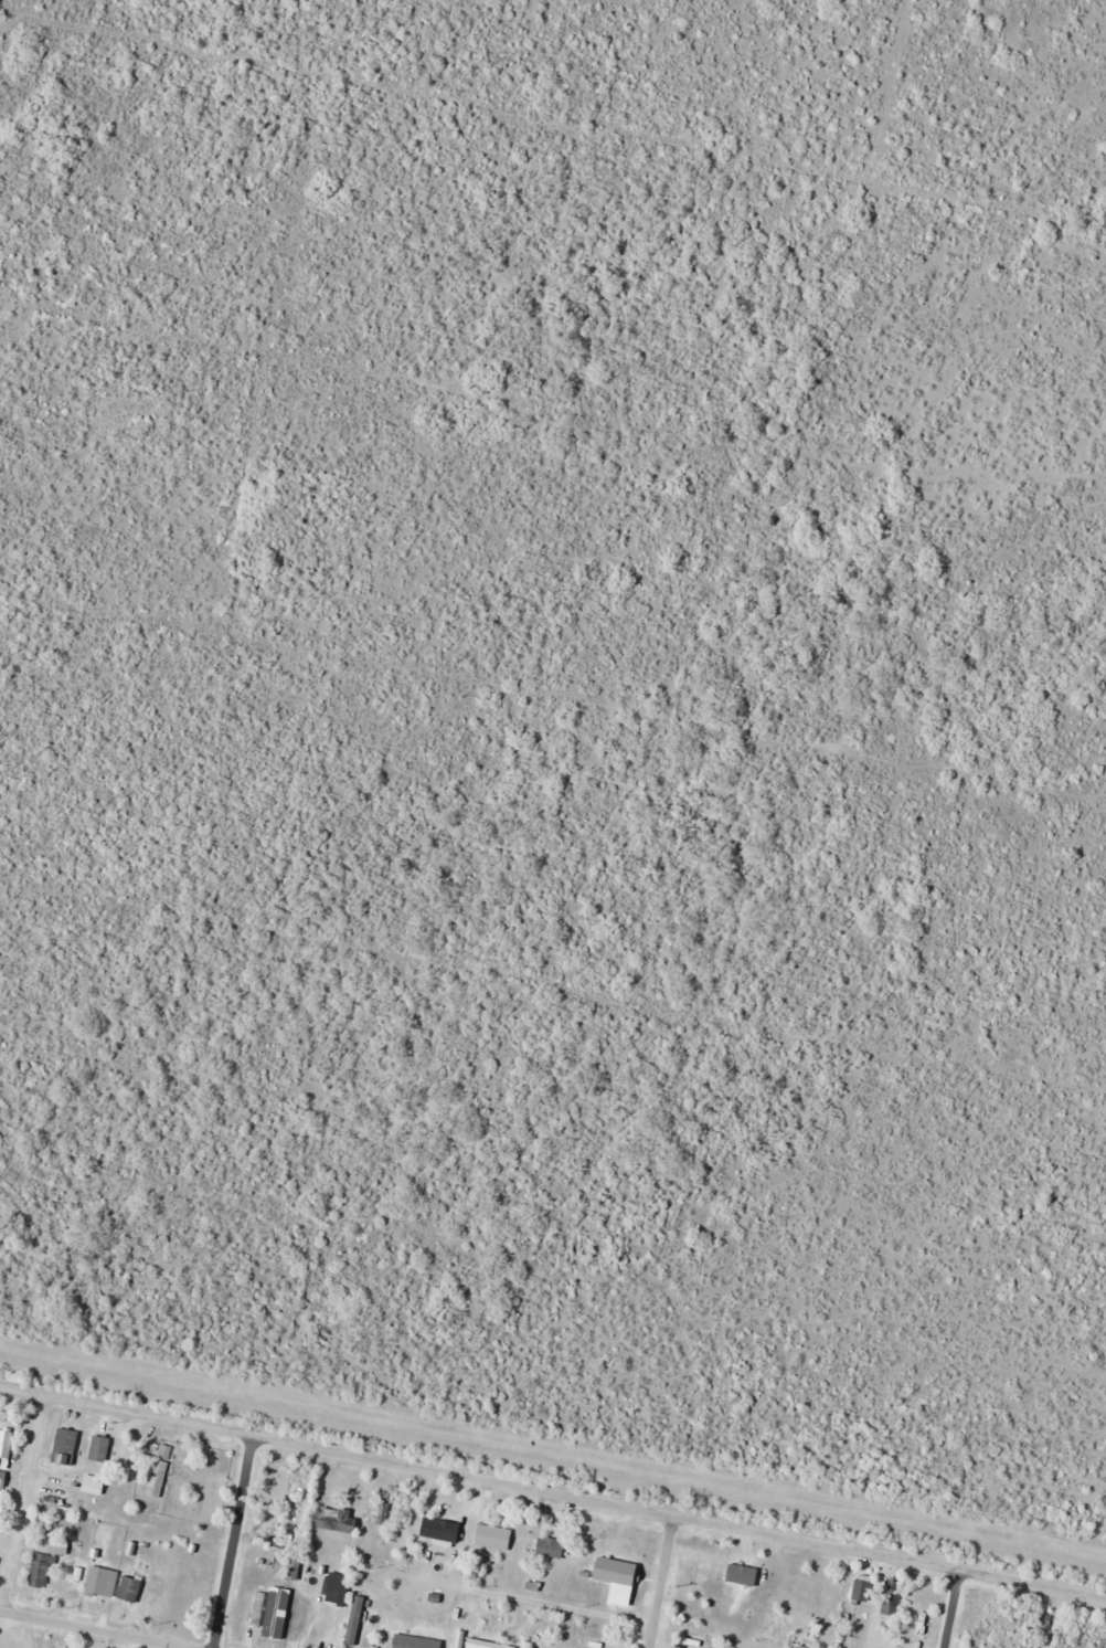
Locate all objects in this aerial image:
building: (66, 1447)
building: (4, 1448)
building: (100, 1448)
building: (166, 1451)
building: (2, 1478)
building: (161, 1479)
building: (94, 1485)
road: (553, 1490)
building: (294, 1499)
building: (53, 1503)
road: (28, 1504)
building: (379, 1512)
building: (337, 1520)
building: (442, 1531)
building: (486, 1535)
road: (231, 1541)
building: (552, 1549)
building: (46, 1562)
building: (608, 1571)
road: (666, 1582)
building: (102, 1583)
building: (339, 1589)
building: (862, 1589)
building: (130, 1591)
building: (258, 1608)
building: (891, 1608)
road: (955, 1608)
building: (298, 1618)
road: (91, 1630)
building: (352, 1636)
building: (417, 1641)
building: (1099, 1641)
building: (485, 1644)
building: (598, 1646)

